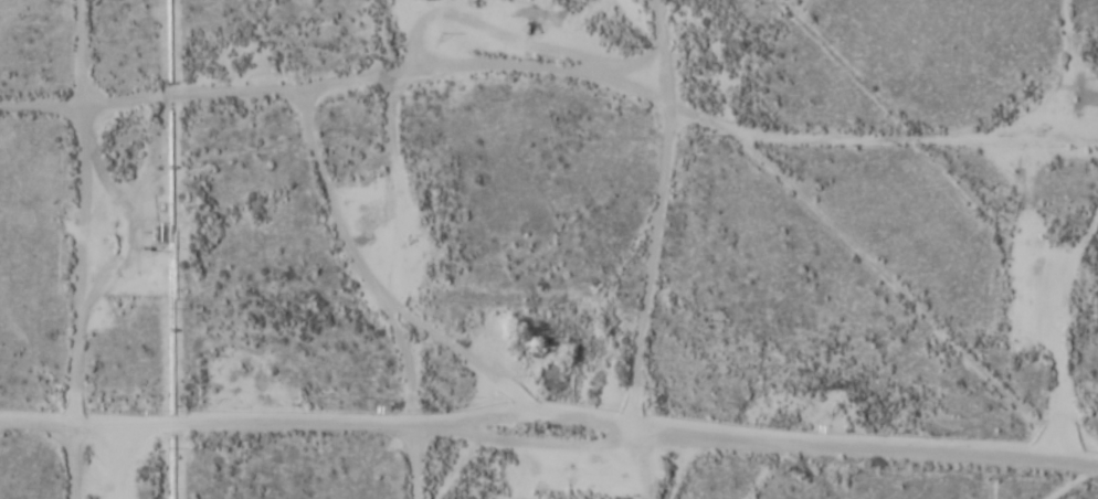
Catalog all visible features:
road: (738, 130)
road: (399, 248)
road: (86, 250)
road: (917, 309)
road: (549, 433)

